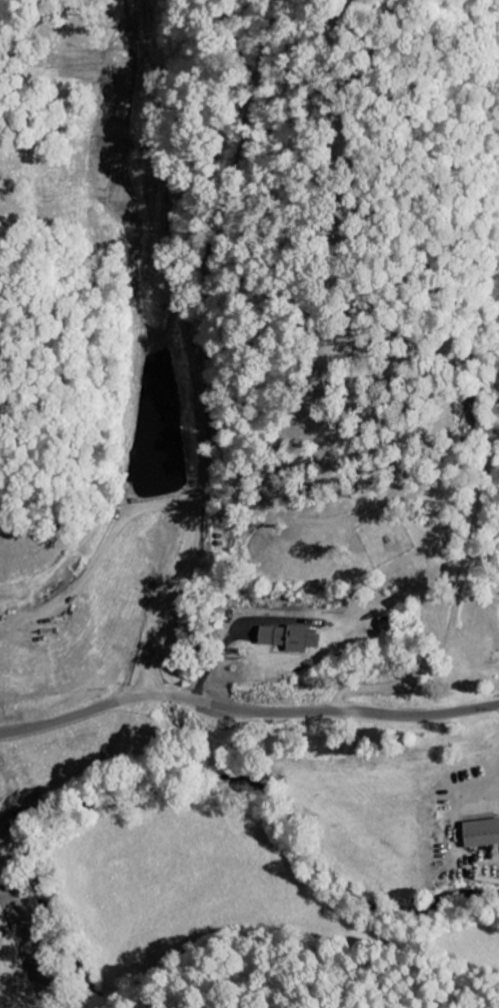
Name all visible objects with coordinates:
building: (289, 638)
road: (246, 709)
building: (480, 833)

